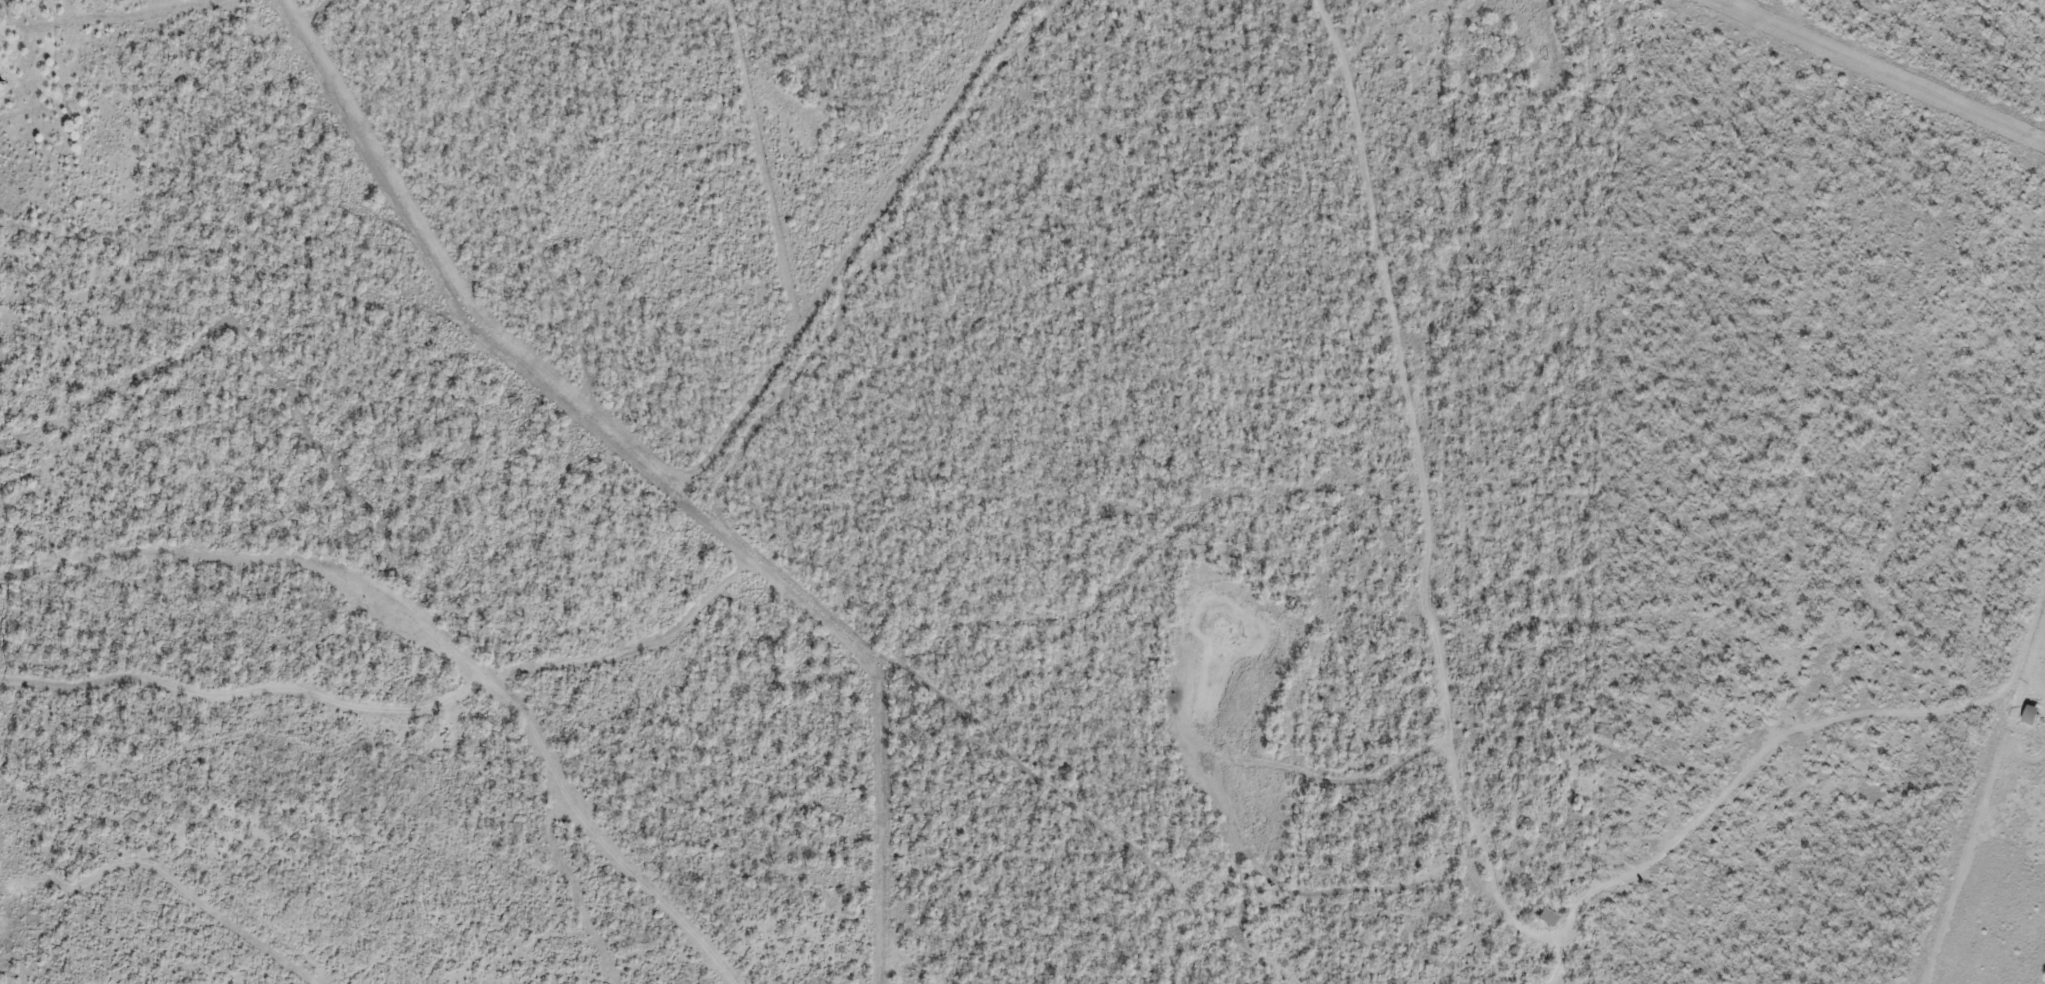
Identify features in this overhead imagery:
building: (1547, 916)

